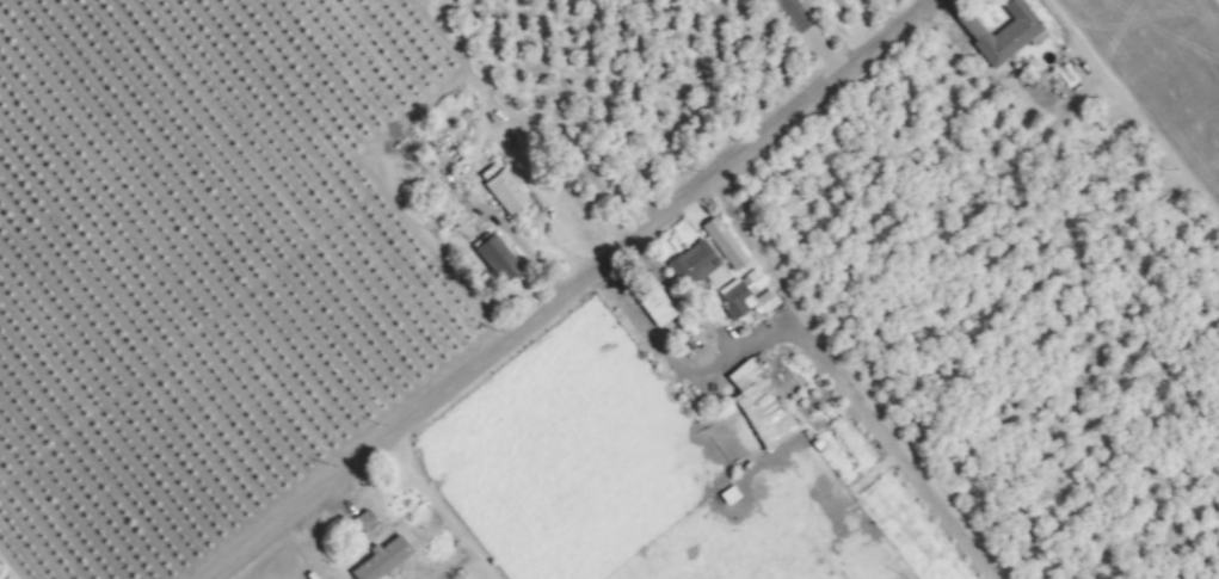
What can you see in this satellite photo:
building: (1004, 33)
road: (814, 36)
building: (500, 190)
building: (720, 242)
building: (490, 257)
building: (694, 265)
road: (560, 289)
building: (744, 295)
building: (647, 301)
building: (755, 405)
building: (725, 494)
building: (361, 521)
building: (376, 559)

